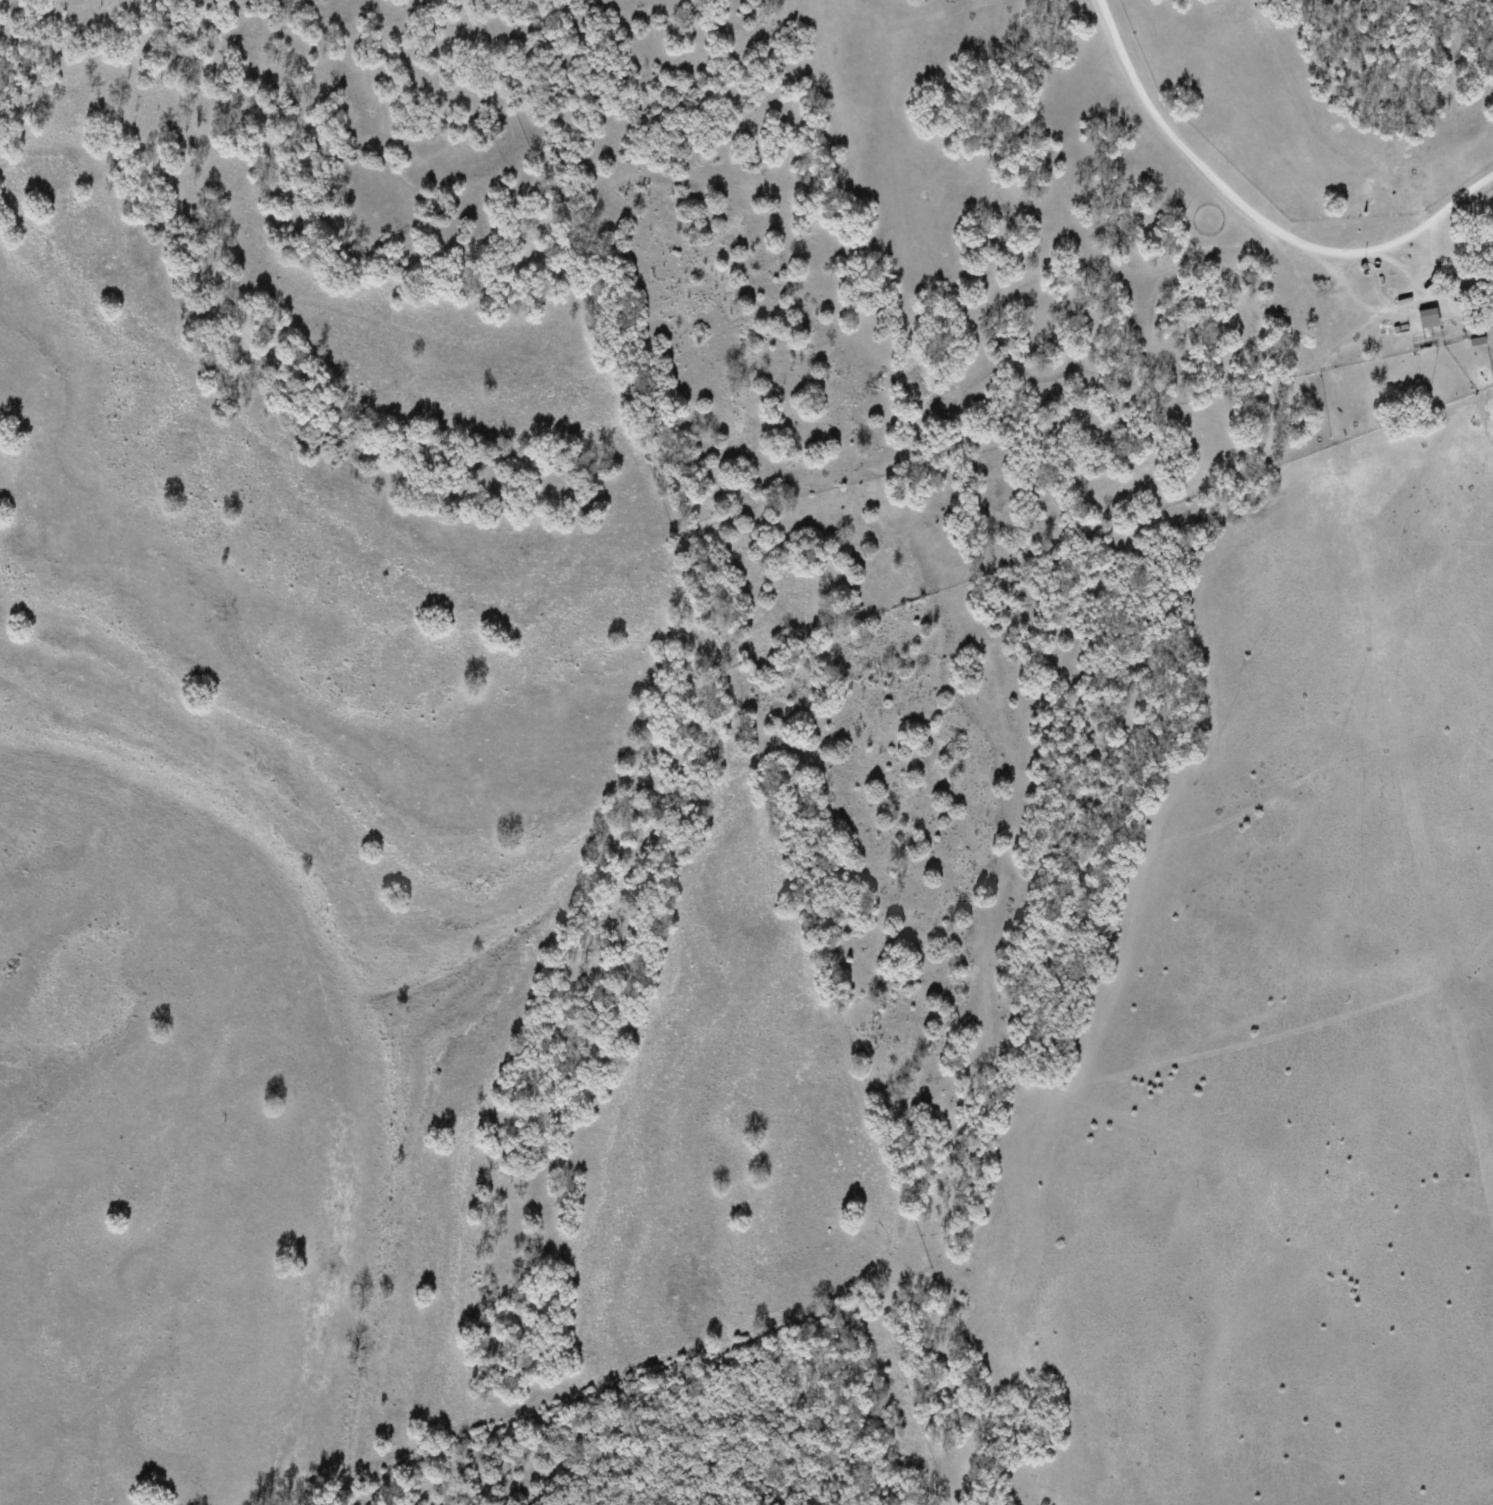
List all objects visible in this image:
road: (1255, 215)
building: (1428, 315)

